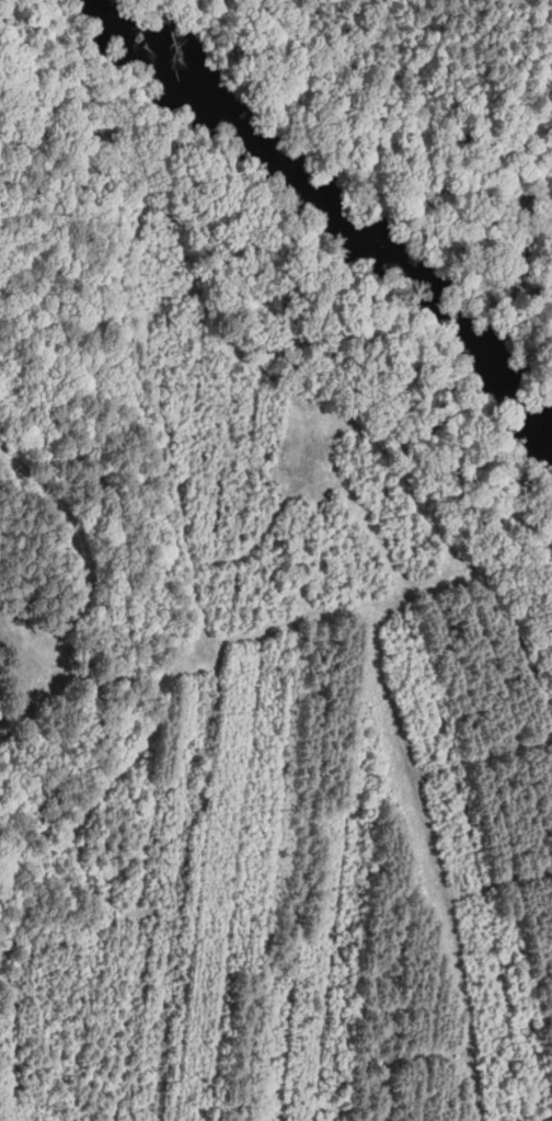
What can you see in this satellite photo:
river: (274, 155)
river: (502, 384)

